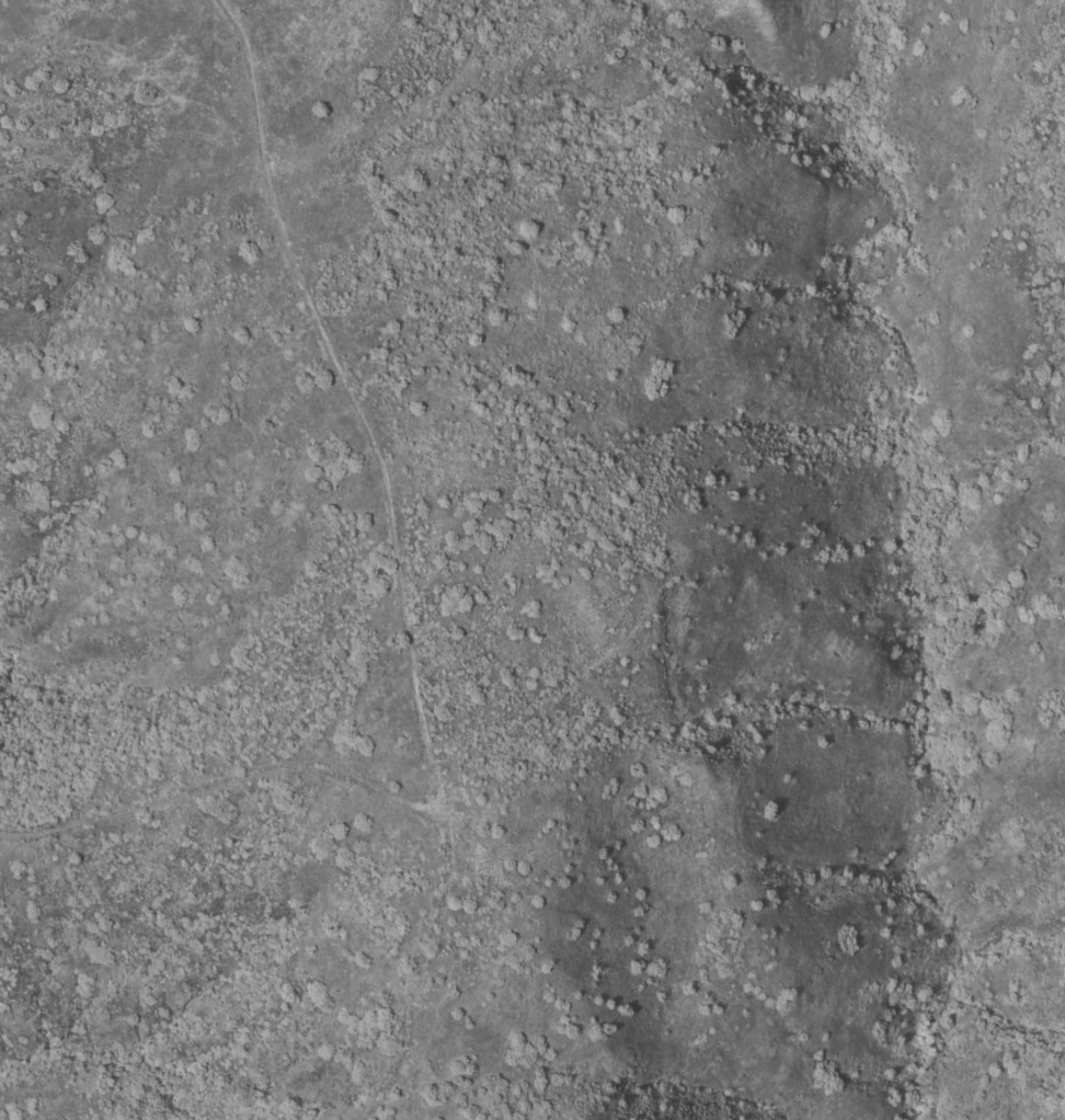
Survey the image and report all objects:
road: (401, 615)

